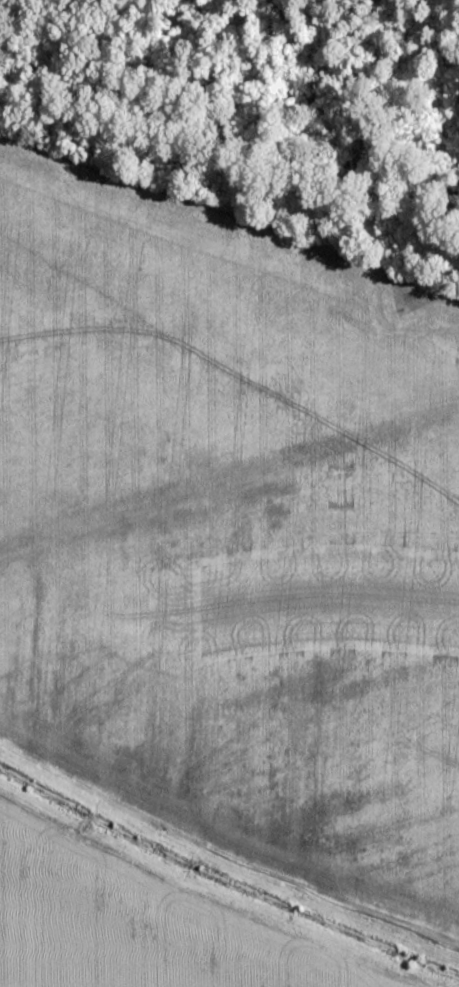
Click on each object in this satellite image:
road: (330, 598)

